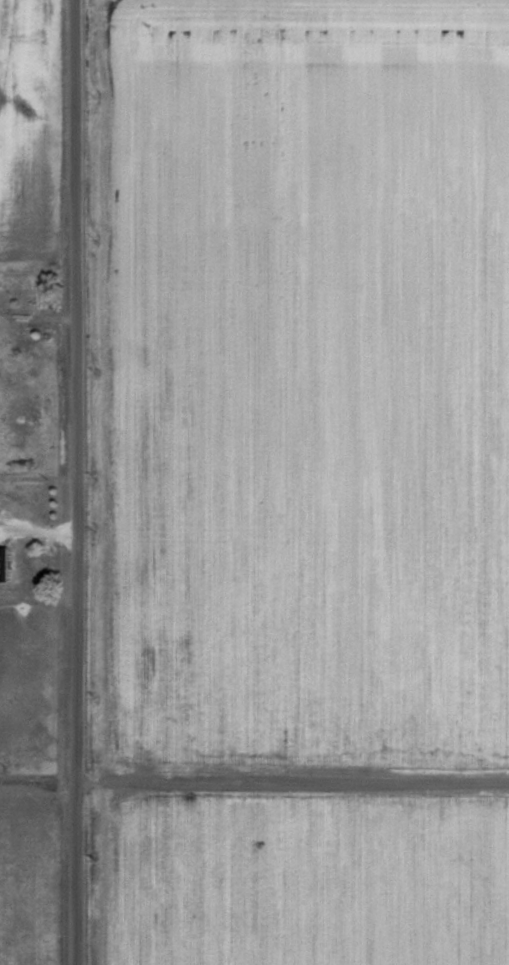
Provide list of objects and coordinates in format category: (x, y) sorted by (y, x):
road: (78, 482)

